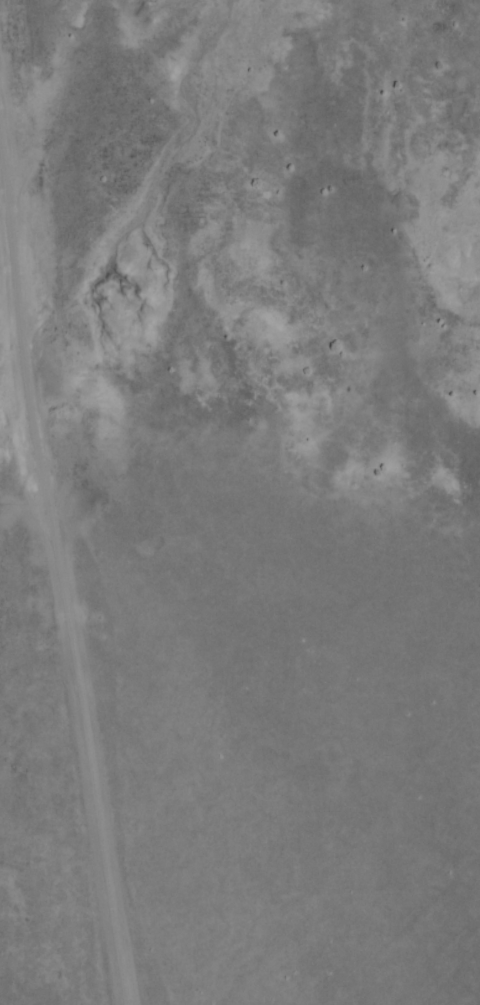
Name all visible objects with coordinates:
road: (69, 504)

